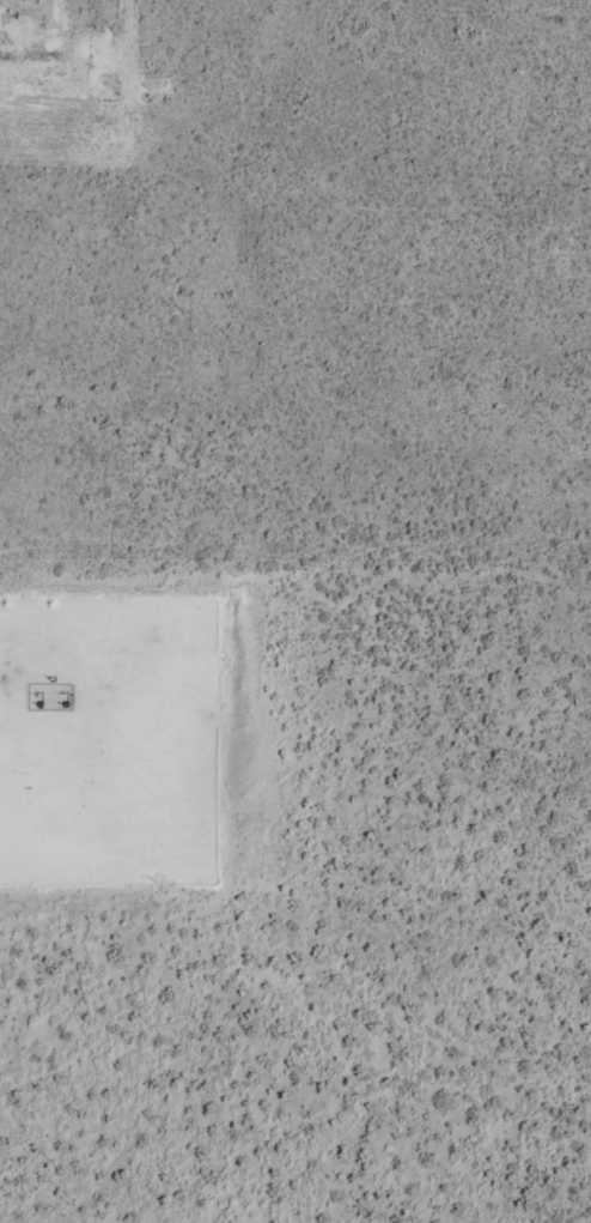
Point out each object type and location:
petroleum well: (38, 703)
petroleum well: (63, 703)

